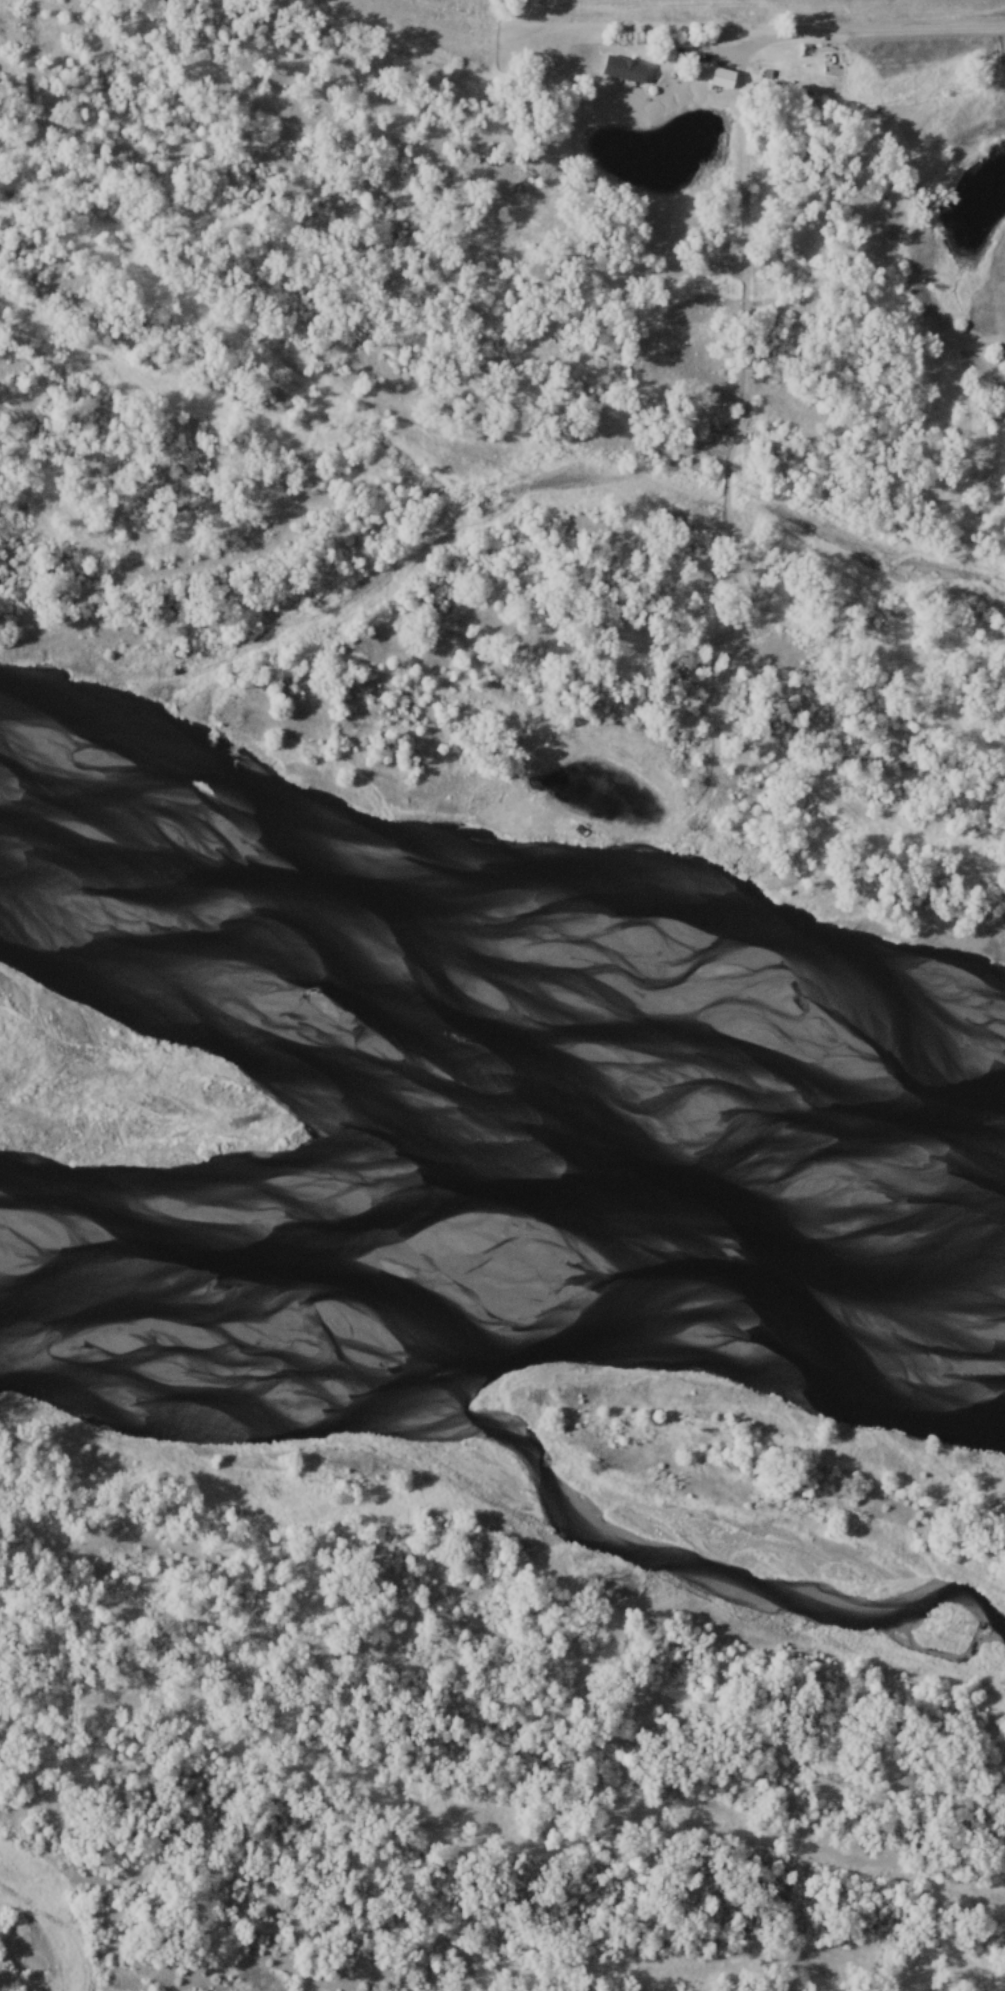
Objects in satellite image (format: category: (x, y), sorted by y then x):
road: (844, 35)
building: (628, 71)
building: (726, 79)
river: (503, 993)

